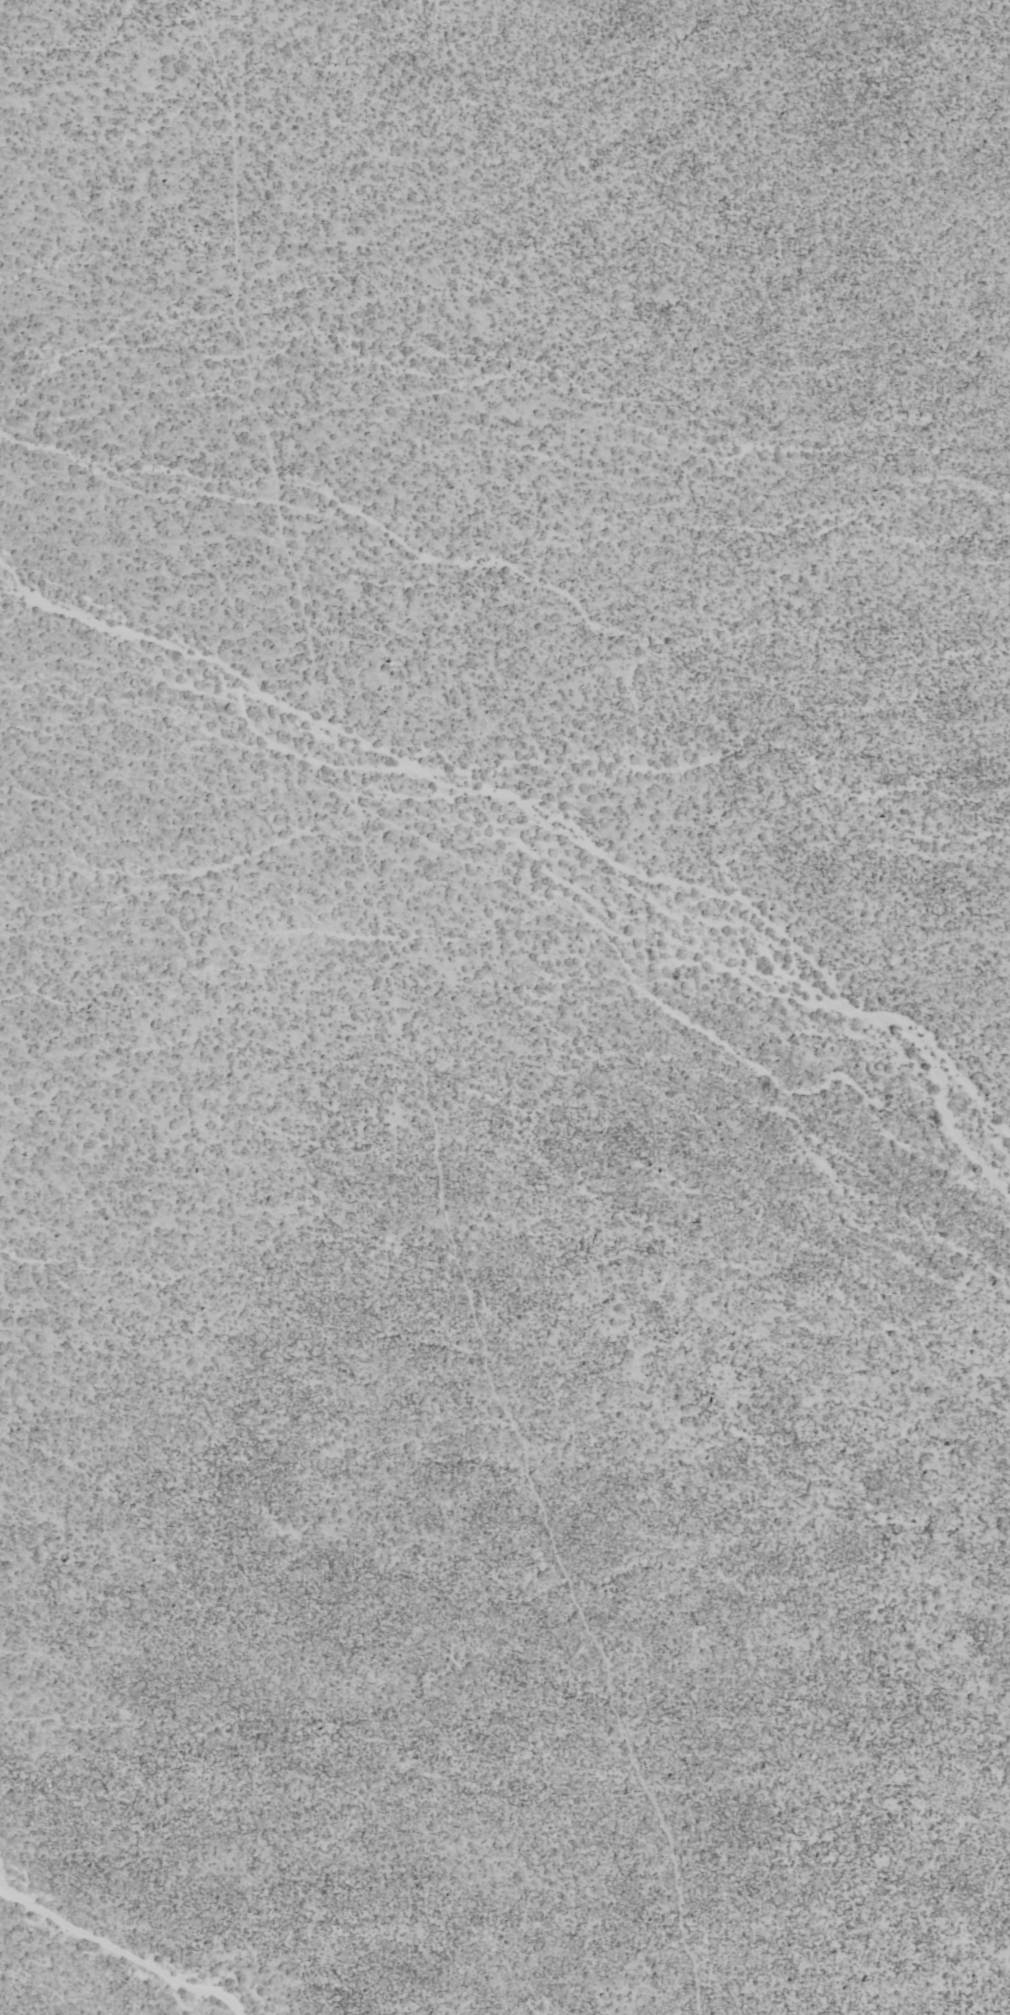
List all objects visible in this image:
road: (395, 1019)
road: (120, 1952)

